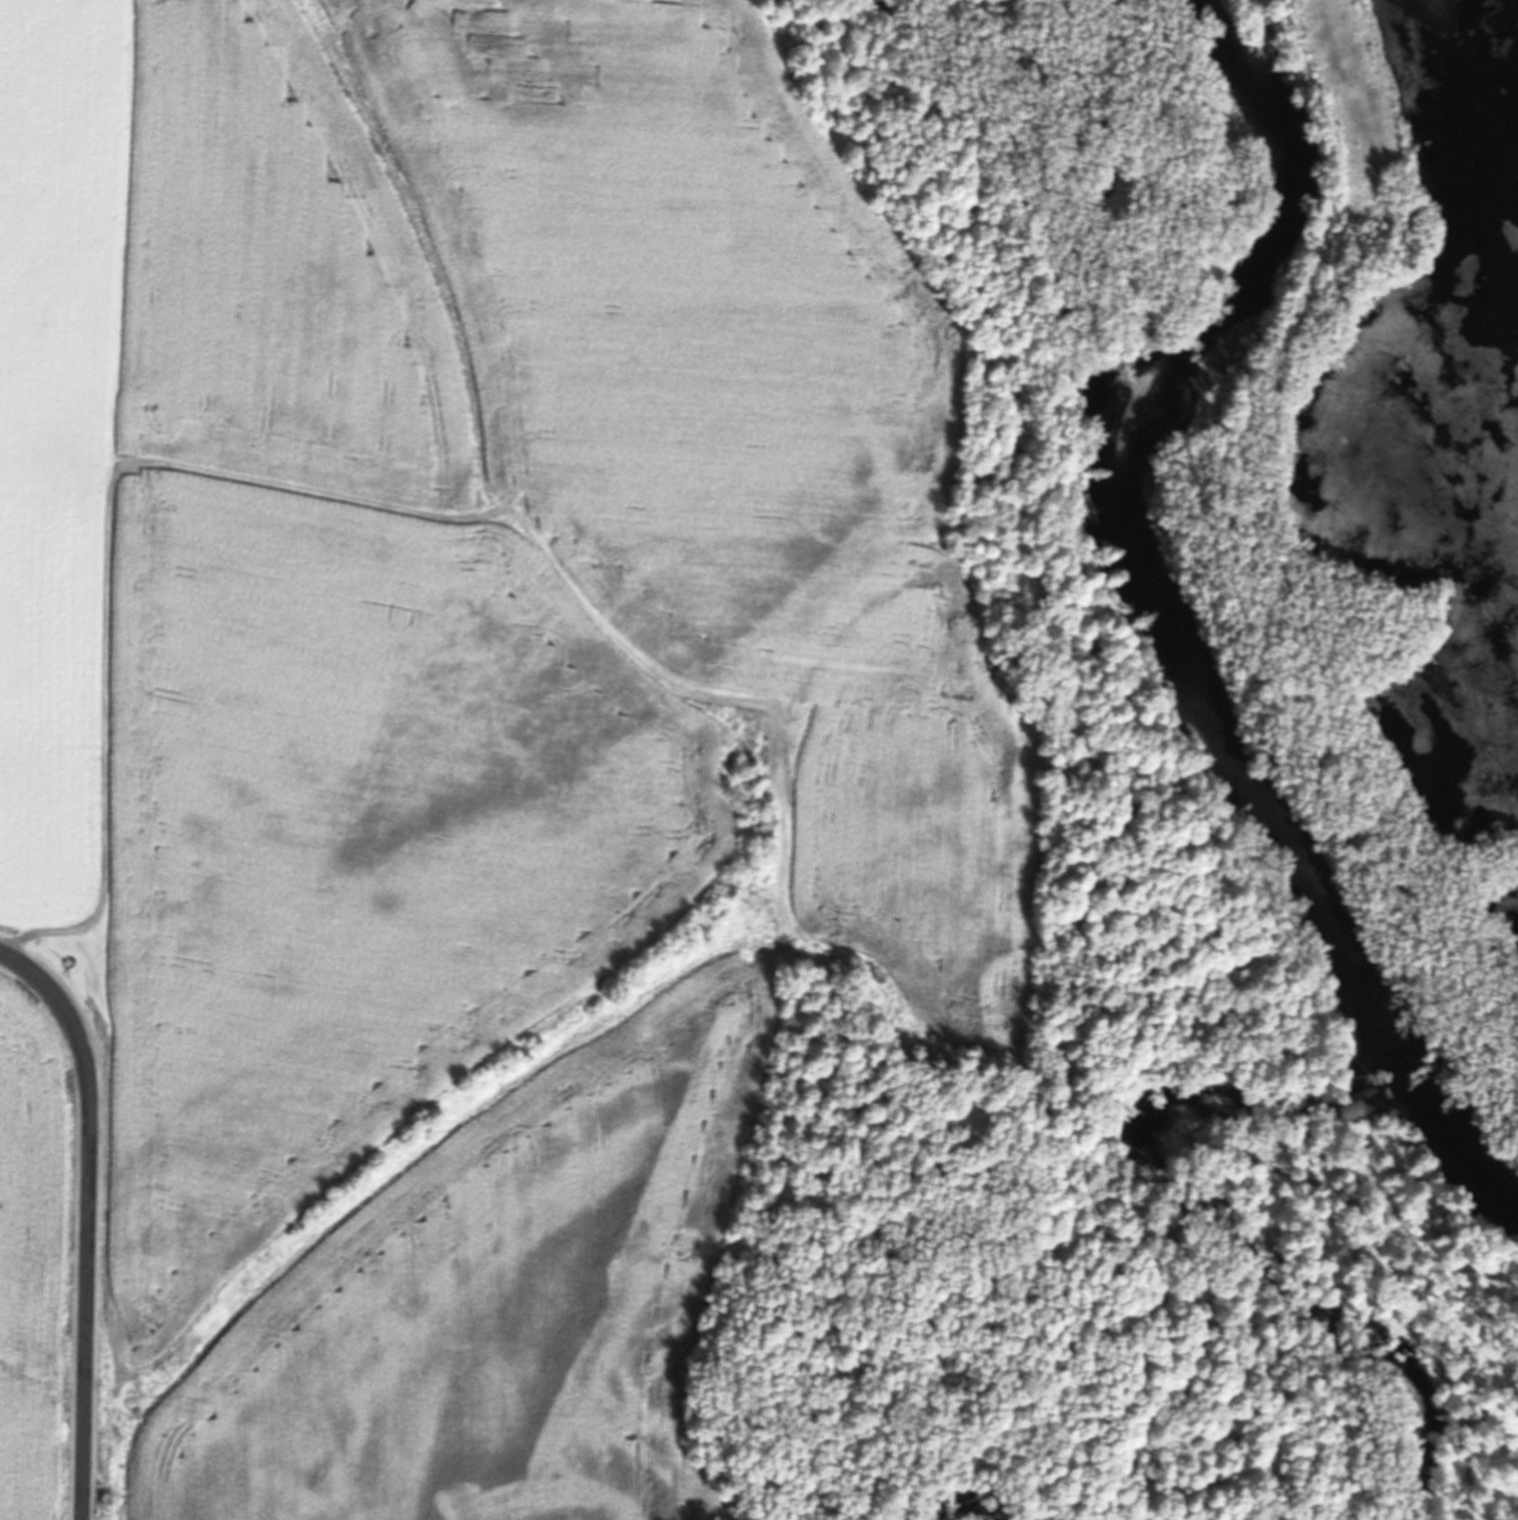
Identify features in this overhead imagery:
quarry: (1389, 470)
river: (1191, 586)
river: (1482, 1141)
road: (88, 1218)

